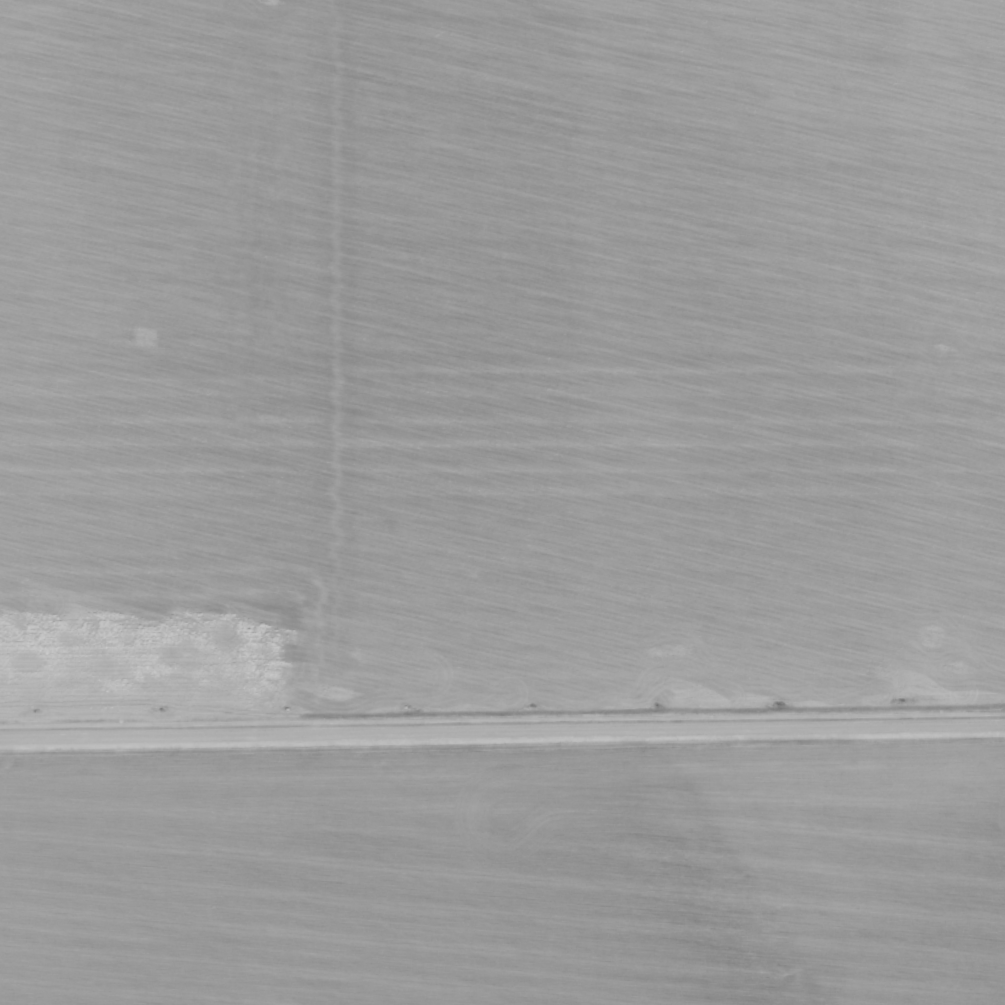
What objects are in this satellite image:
road: (502, 733)

